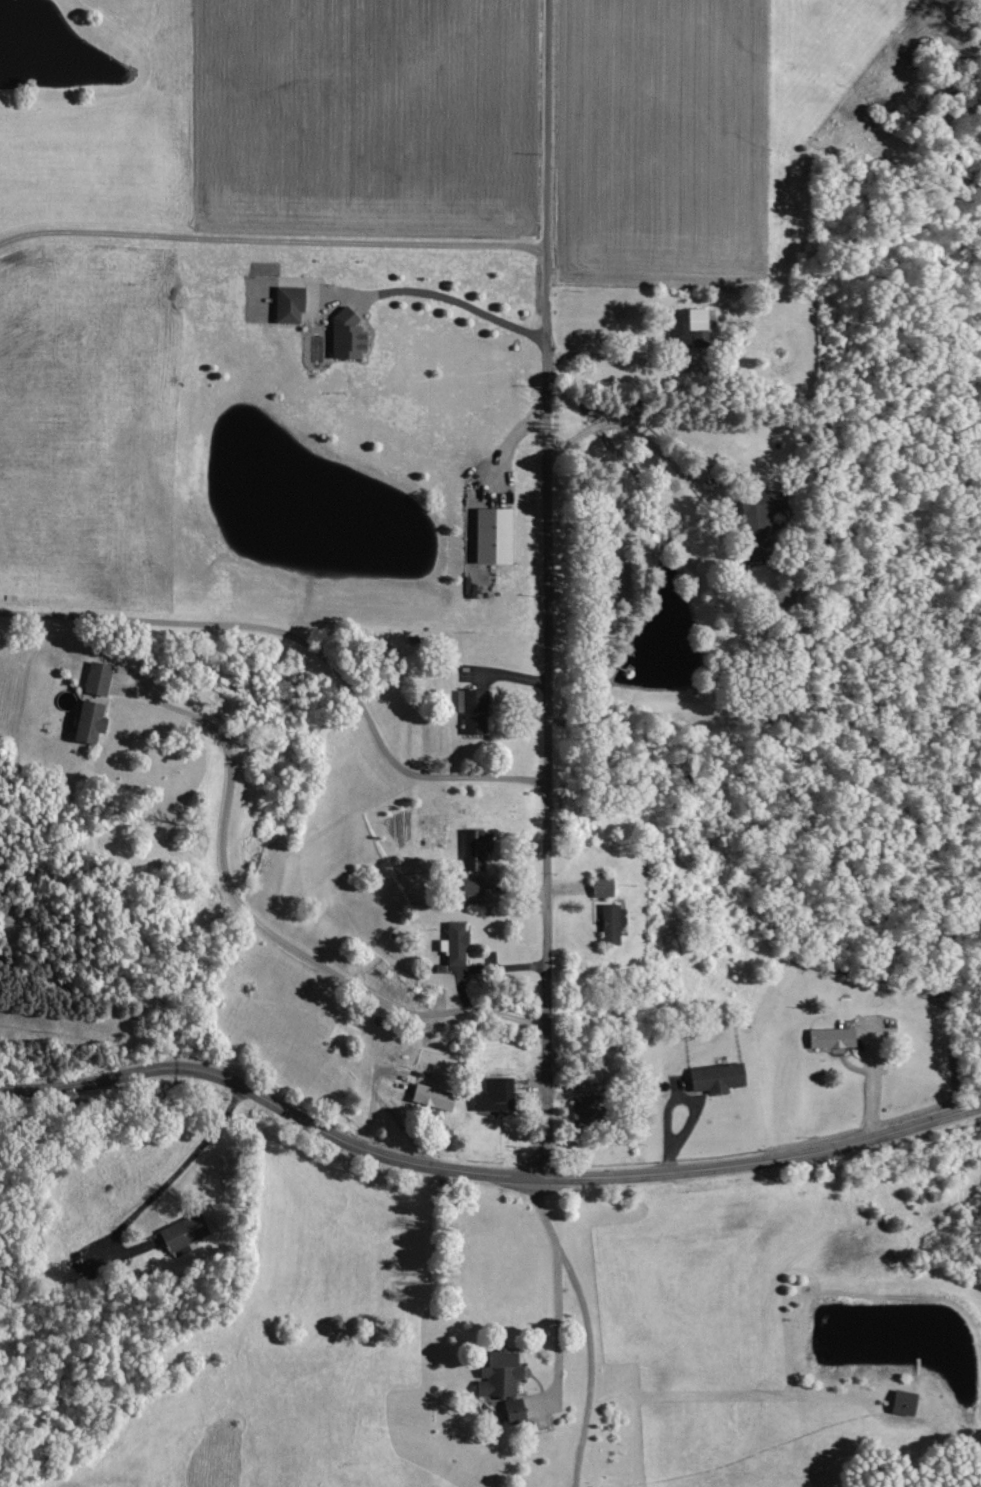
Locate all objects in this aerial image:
road: (271, 237)
road: (441, 293)
building: (289, 304)
building: (686, 329)
building: (342, 332)
road: (626, 354)
road: (647, 435)
road: (496, 464)
building: (758, 523)
building: (492, 532)
road: (546, 587)
road: (304, 638)
road: (506, 679)
building: (92, 700)
building: (473, 710)
building: (475, 846)
building: (601, 884)
building: (470, 888)
road: (260, 922)
building: (610, 923)
building: (456, 942)
road: (479, 967)
building: (829, 1036)
building: (716, 1076)
building: (490, 1089)
road: (366, 1092)
building: (430, 1094)
road: (679, 1100)
building: (585, 1102)
road: (482, 1171)
road: (155, 1184)
building: (182, 1234)
road: (591, 1325)
road: (557, 1329)
building: (506, 1379)
building: (900, 1401)

